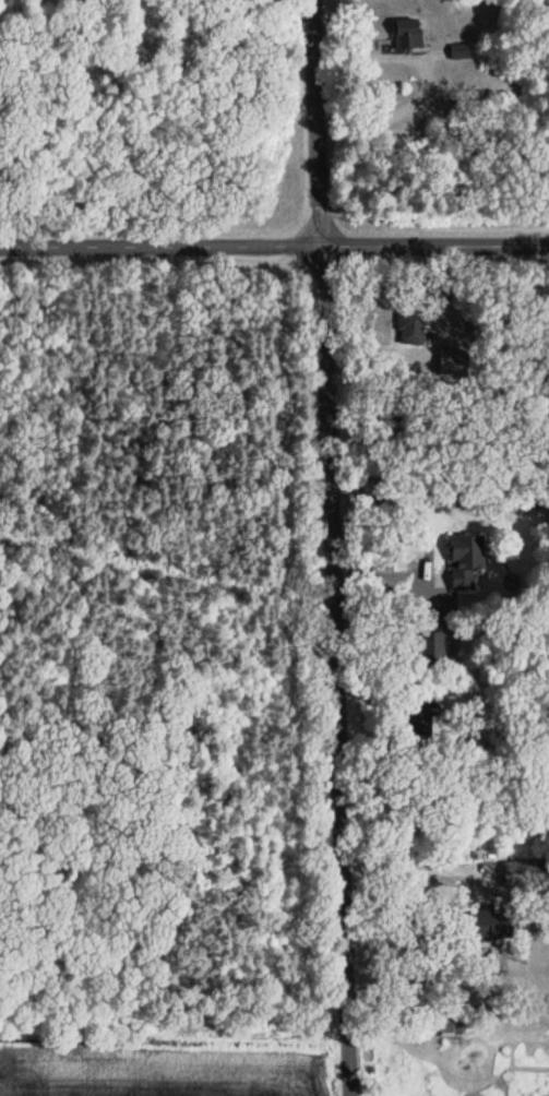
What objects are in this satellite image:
building: (405, 33)
building: (457, 50)
road: (427, 82)
road: (274, 250)
building: (410, 325)
road: (378, 348)
road: (430, 540)
road: (331, 547)
building: (463, 560)
building: (431, 645)
building: (421, 715)
road: (405, 870)
building: (522, 872)
building: (482, 924)
building: (447, 1027)
crop: (163, 1064)

